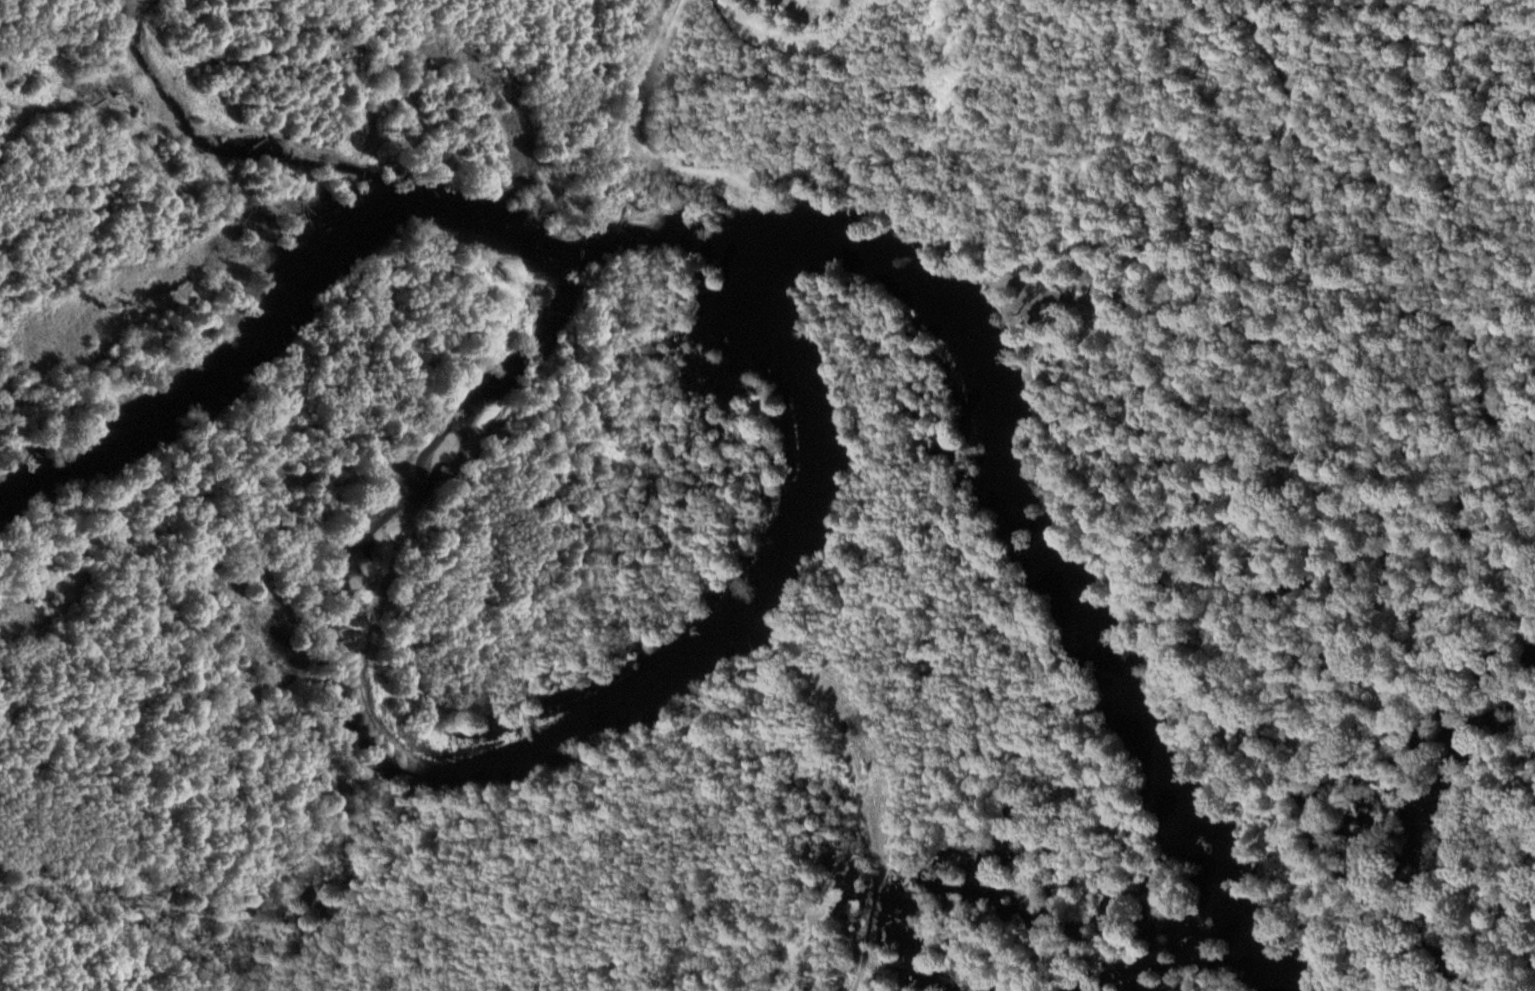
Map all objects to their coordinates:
park: (233, 658)

